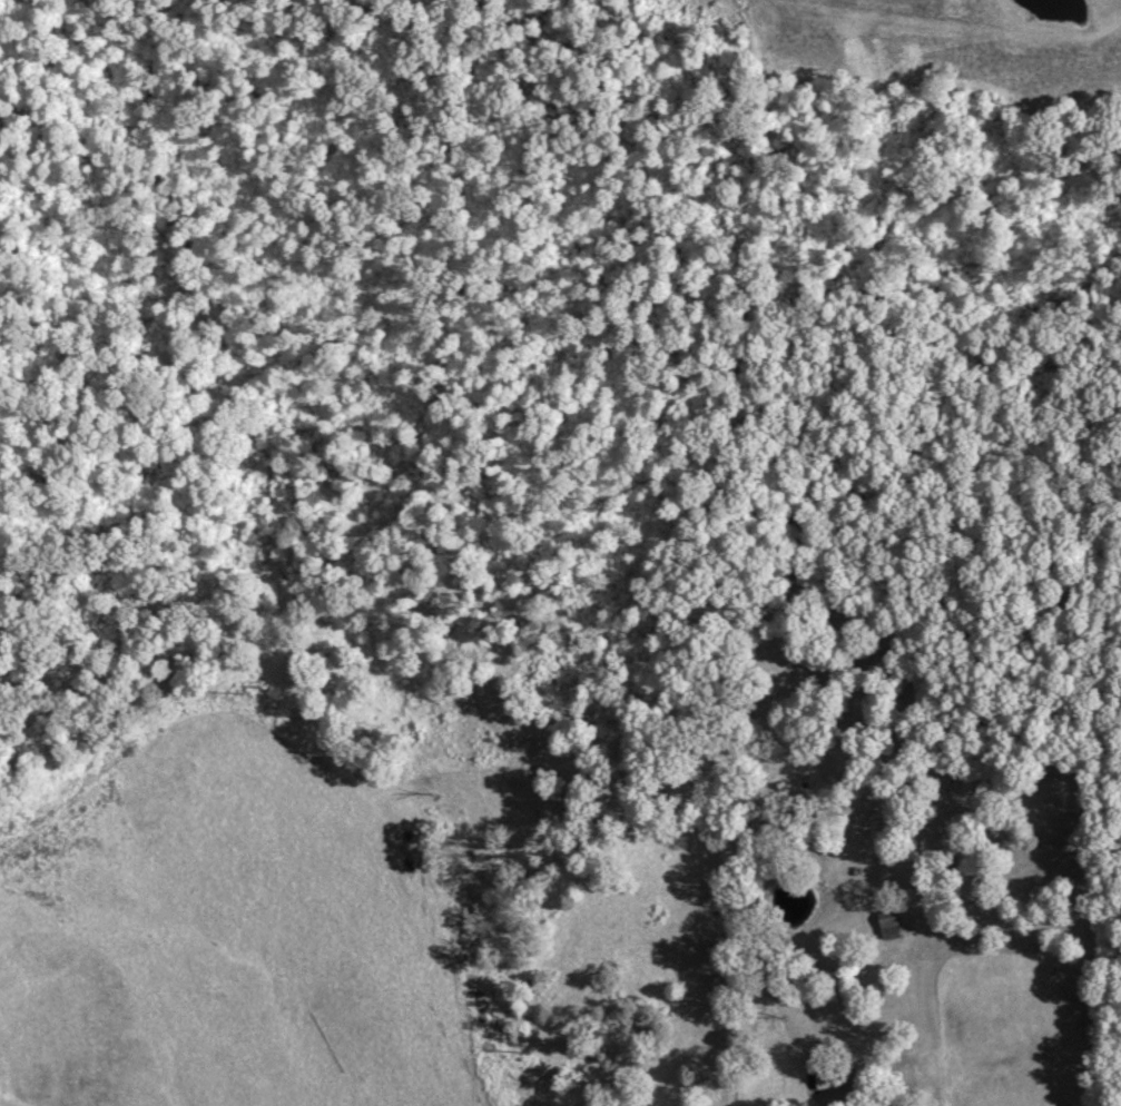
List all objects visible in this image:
building: (889, 925)

